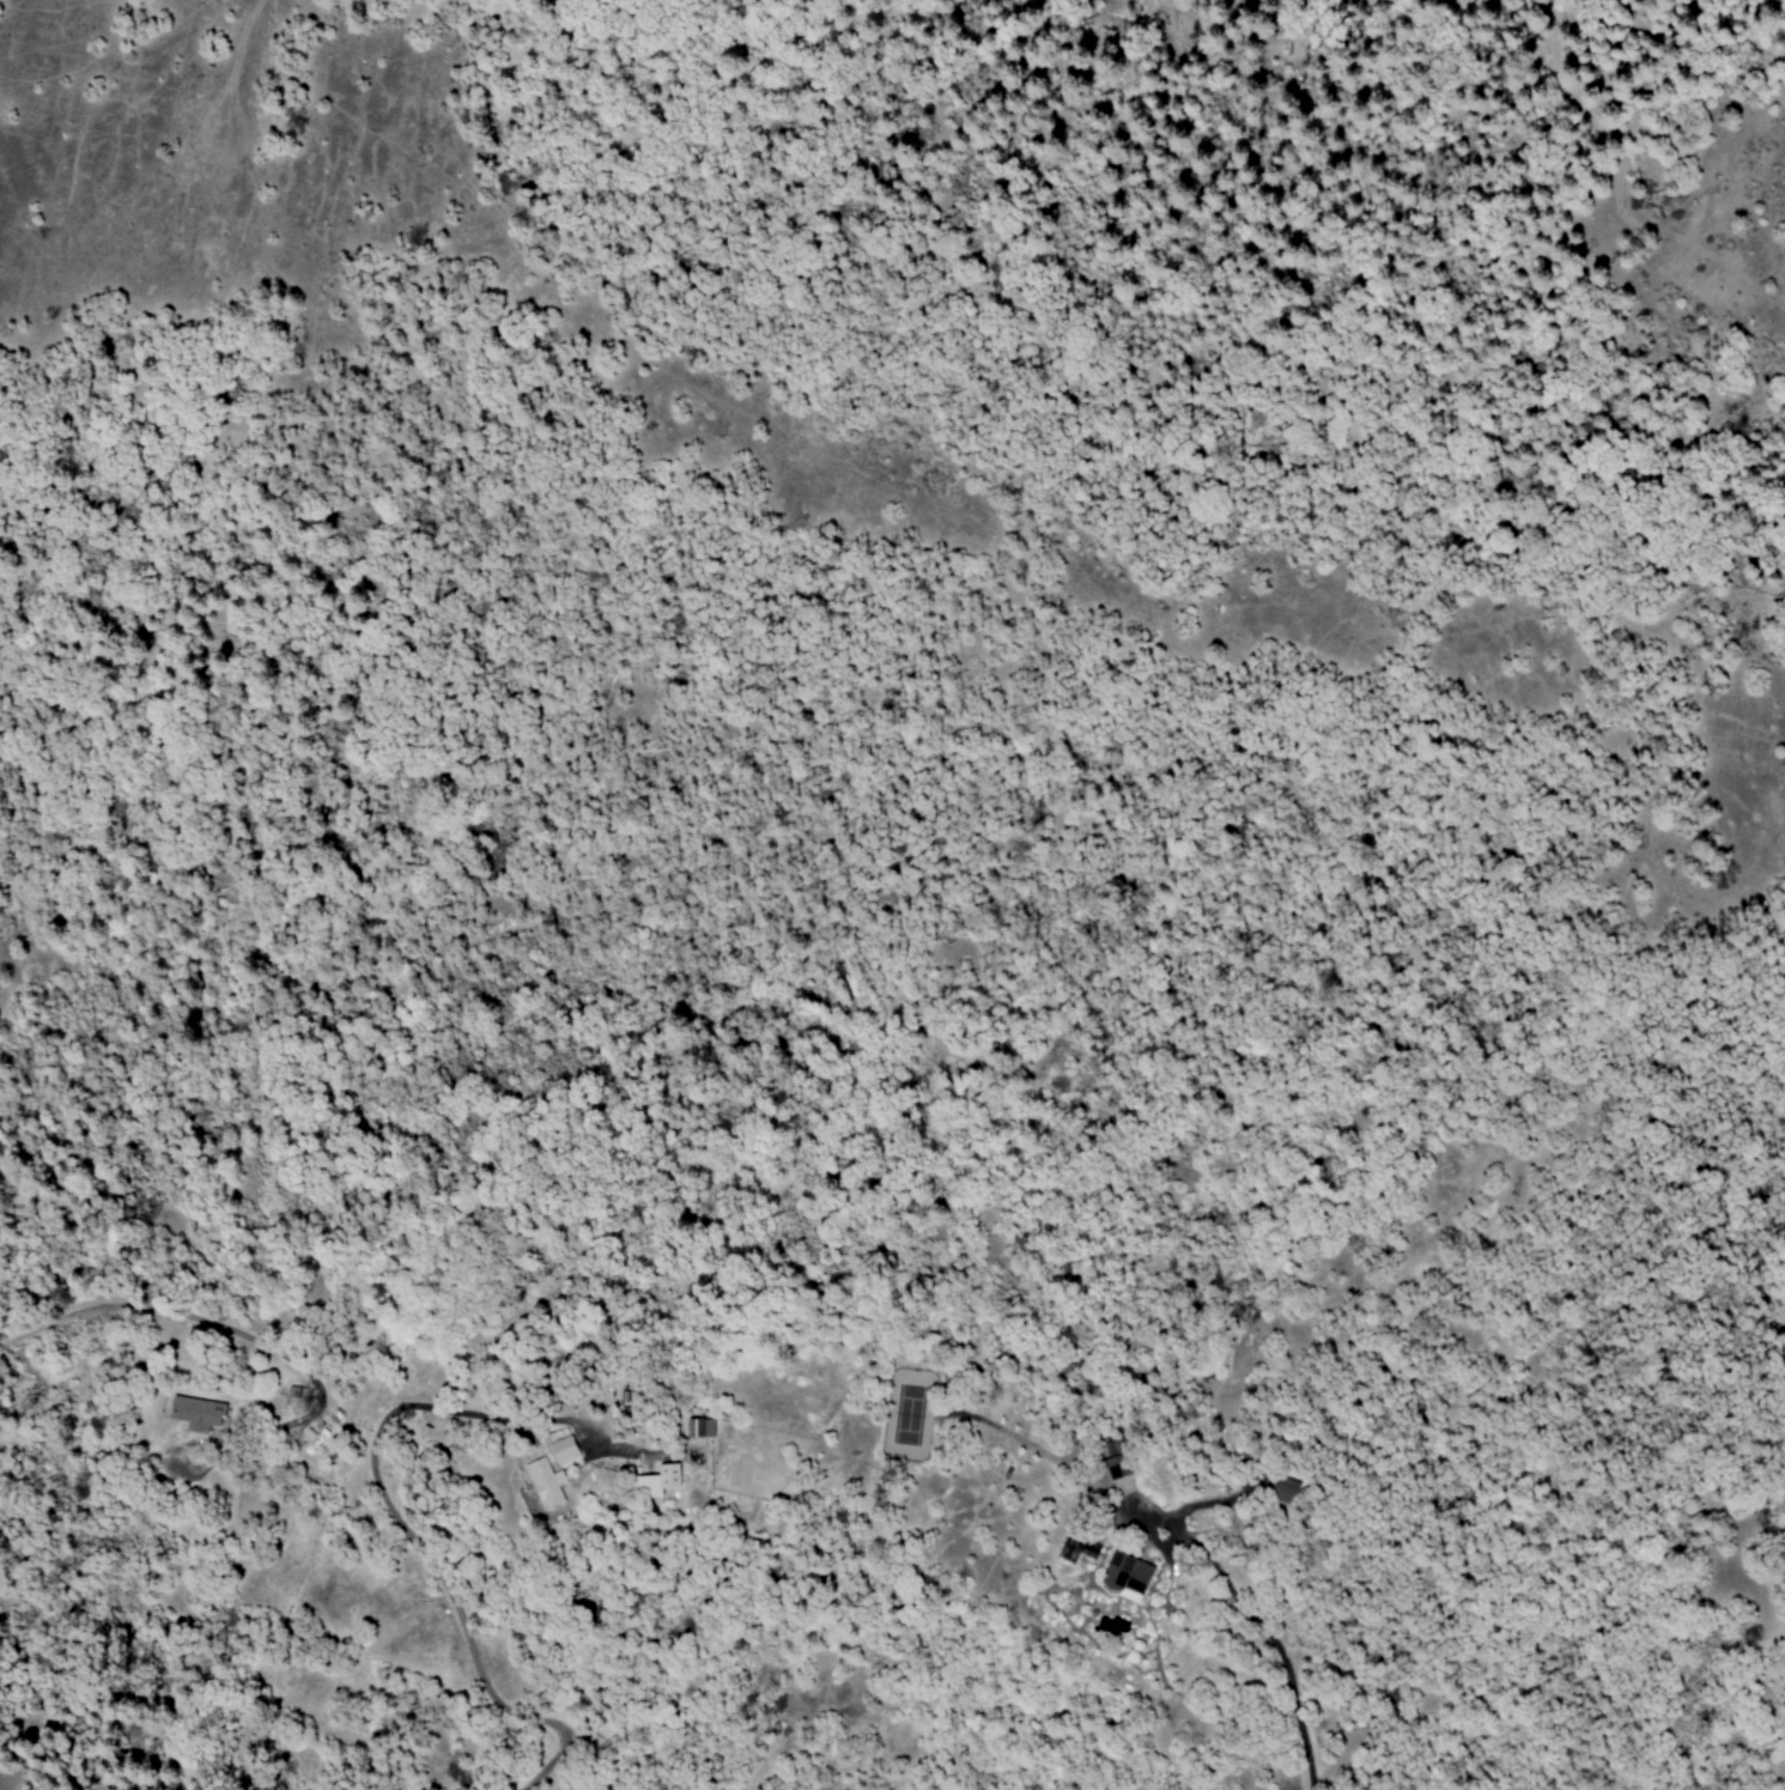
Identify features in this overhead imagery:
building: (196, 1415)
building: (699, 1428)
building: (563, 1451)
building: (1116, 1460)
building: (545, 1483)
building: (657, 1483)
building: (1286, 1492)
building: (1127, 1577)
road: (1288, 1668)

